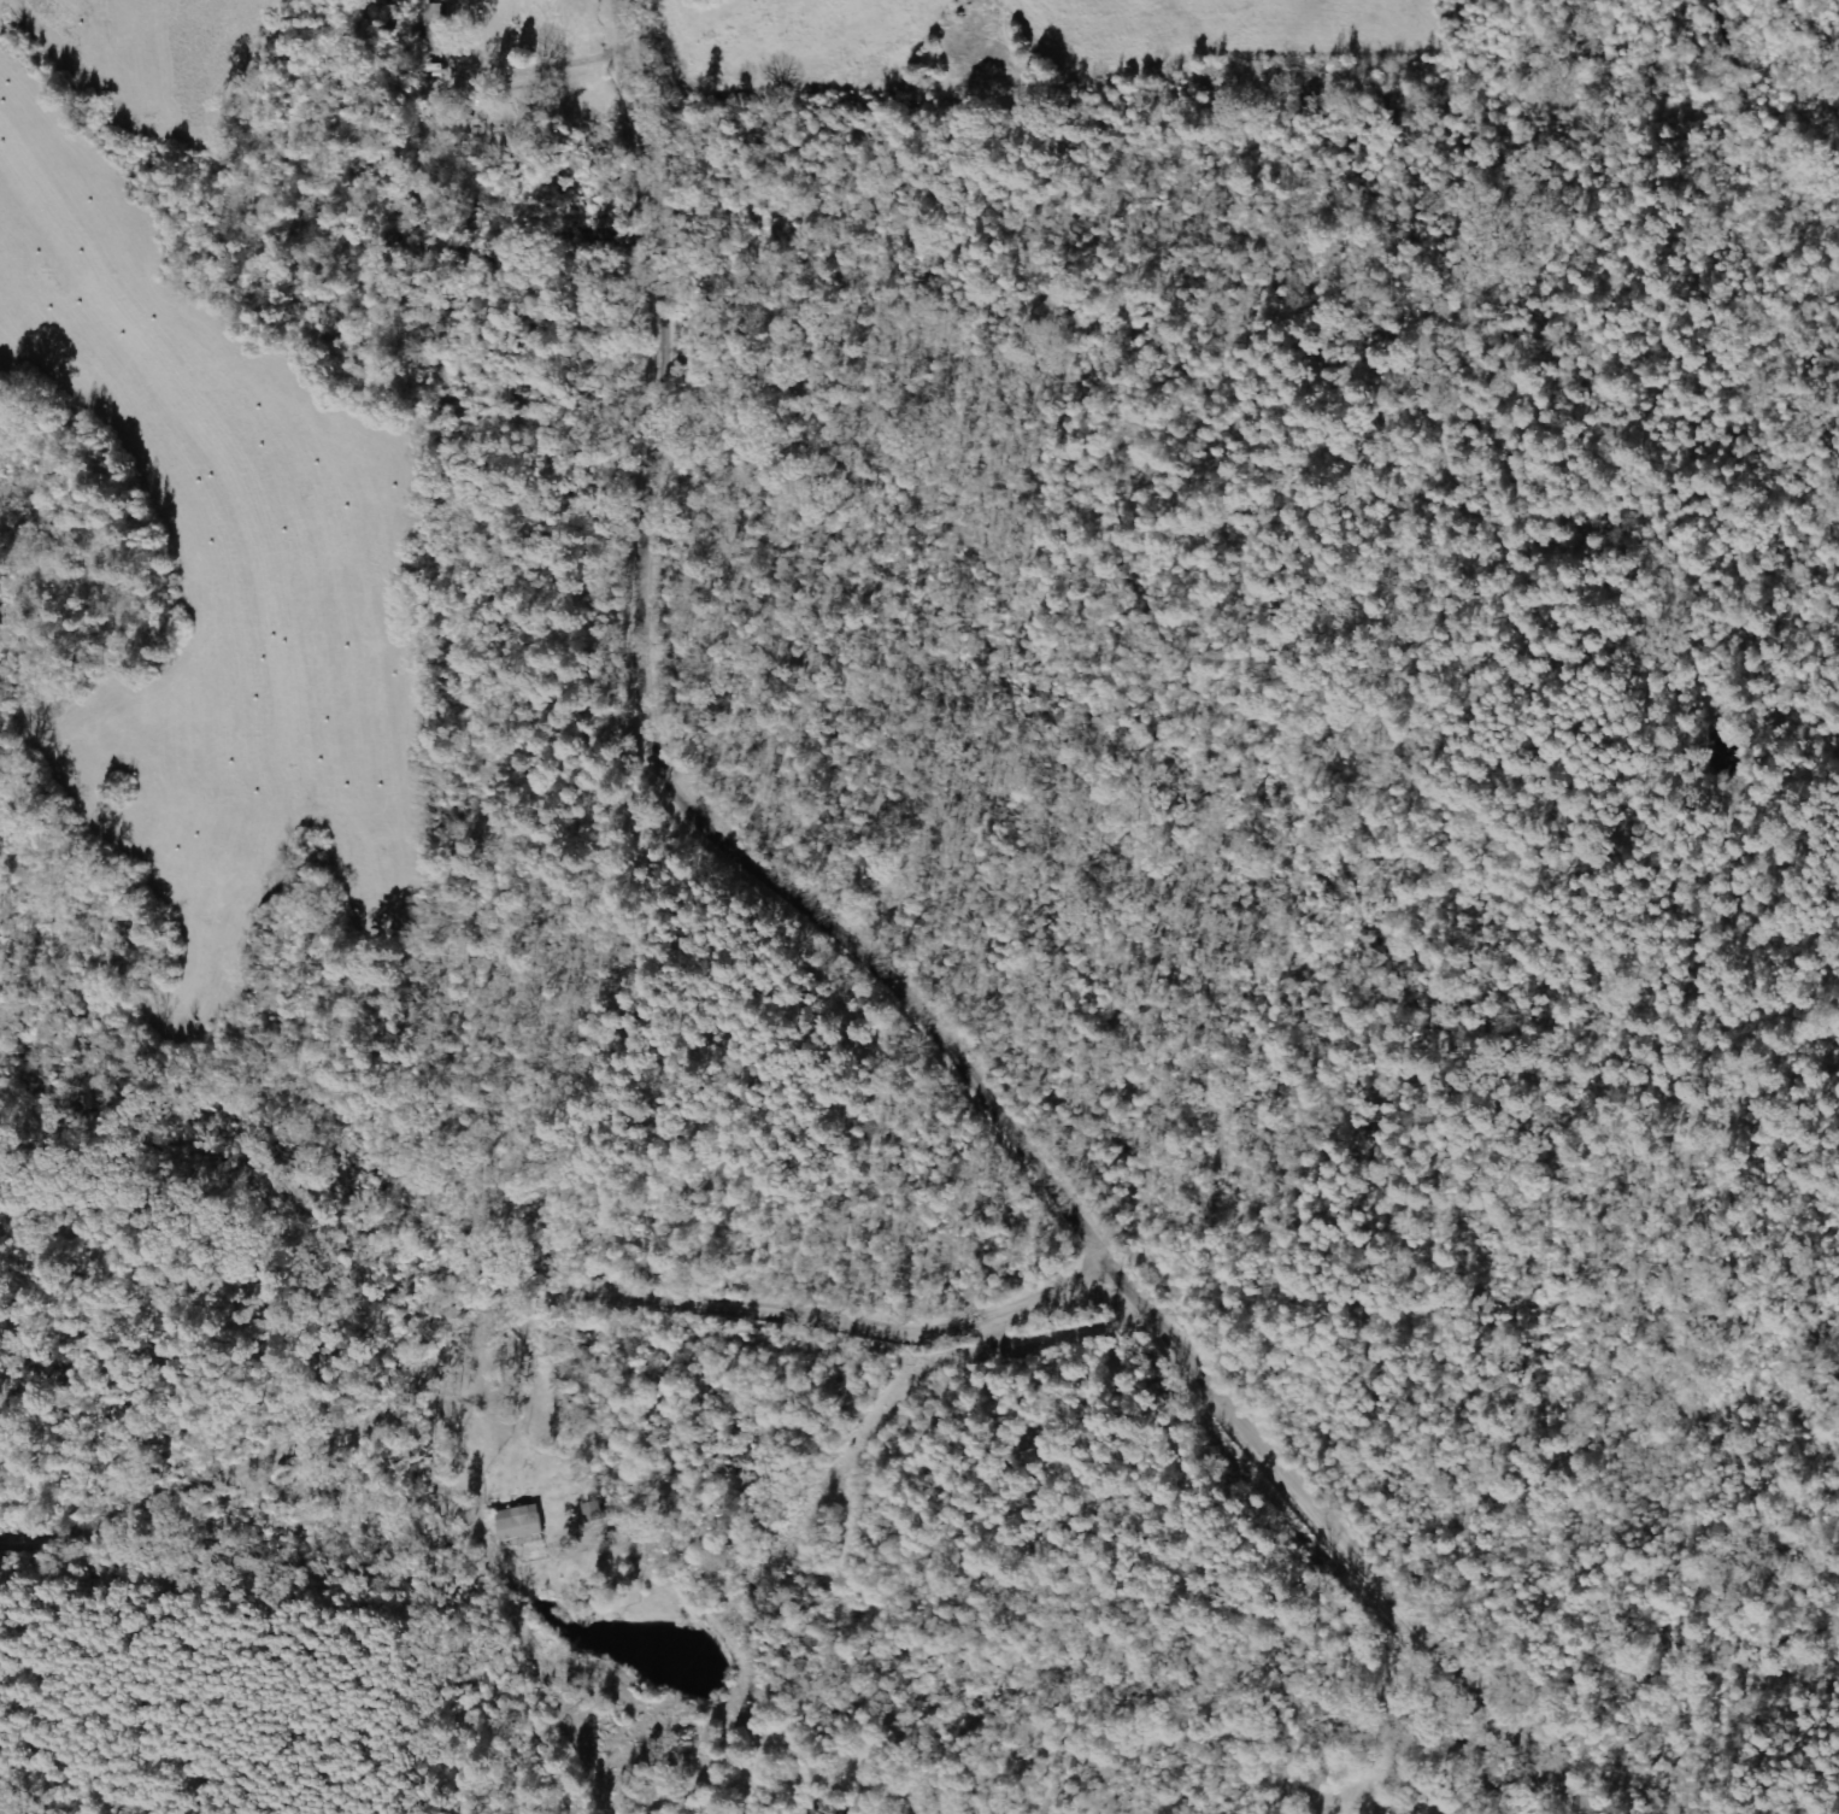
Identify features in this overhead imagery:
building: (441, 27)
road: (891, 979)
road: (535, 1310)
building: (595, 1513)
building: (521, 1524)

